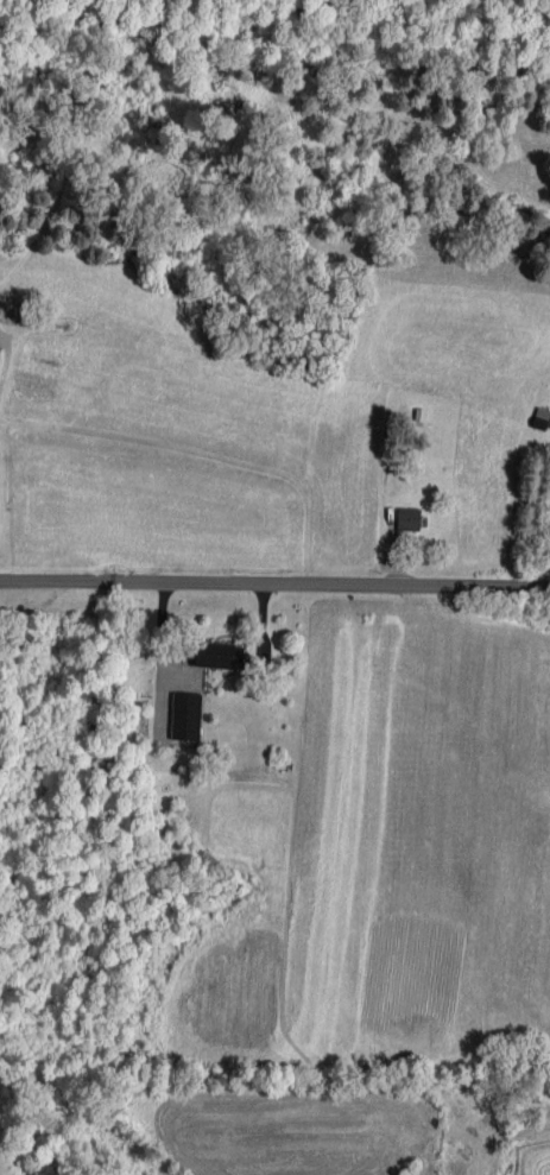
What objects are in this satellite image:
building: (0, 348)
building: (409, 519)
road: (274, 583)
building: (219, 655)
building: (187, 715)

